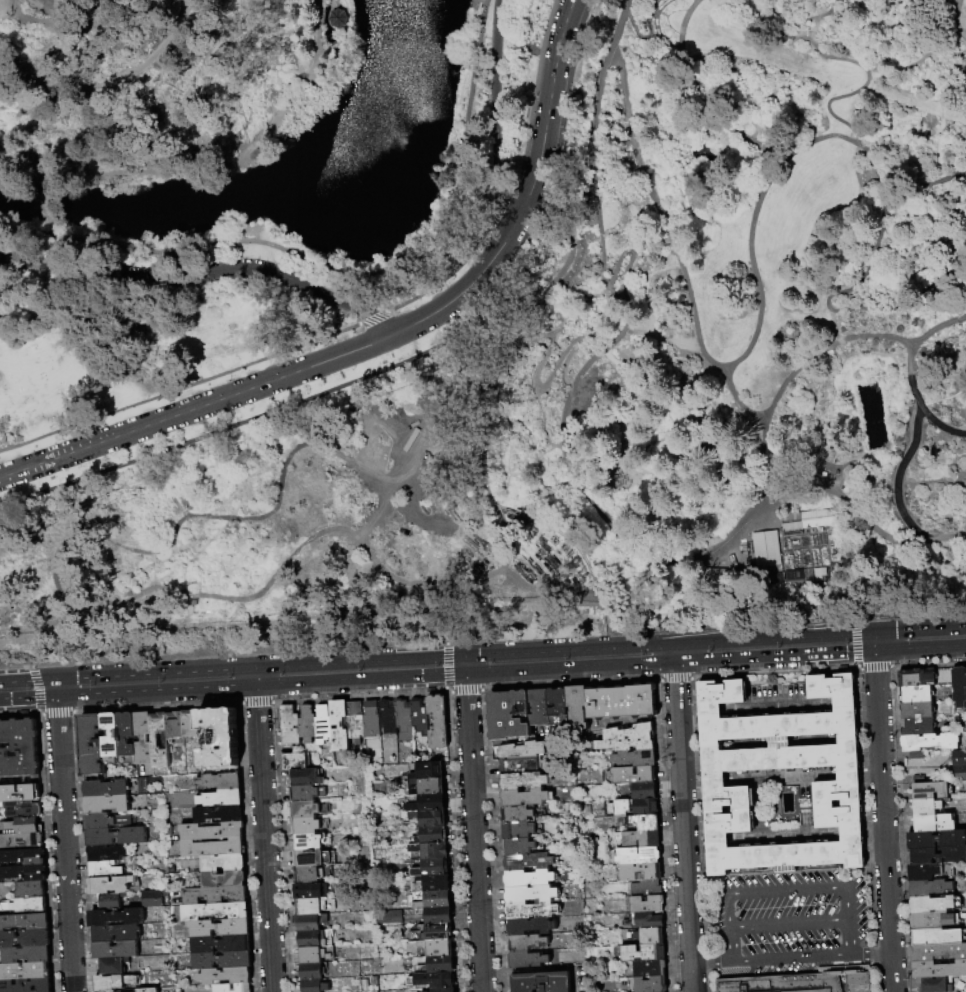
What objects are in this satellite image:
road: (329, 3)
road: (931, 7)
road: (947, 8)
road: (665, 16)
building: (337, 18)
road: (950, 18)
road: (816, 19)
road: (953, 22)
road: (68, 24)
road: (961, 26)
road: (656, 27)
road: (479, 30)
road: (645, 35)
road: (787, 35)
road: (836, 36)
road: (945, 36)
road: (341, 38)
road: (823, 38)
road: (332, 46)
road: (323, 52)
road: (917, 59)
road: (954, 68)
road: (650, 71)
road: (291, 72)
road: (925, 77)
road: (110, 79)
road: (266, 79)
road: (864, 81)
road: (957, 85)
road: (201, 91)
road: (962, 93)
road: (698, 96)
road: (532, 97)
road: (914, 102)
road: (282, 108)
road: (827, 110)
road: (938, 110)
road: (546, 111)
road: (495, 113)
road: (671, 125)
road: (592, 126)
road: (885, 131)
road: (609, 135)
road: (130, 148)
road: (936, 148)
road: (696, 158)
road: (781, 159)
road: (705, 165)
road: (92, 171)
road: (926, 183)
road: (919, 201)
road: (501, 203)
road: (952, 205)
road: (630, 211)
road: (926, 219)
road: (930, 240)
road: (907, 244)
road: (950, 247)
road: (449, 255)
road: (872, 256)
road: (314, 261)
road: (899, 270)
road: (450, 274)
road: (560, 274)
road: (203, 275)
road: (607, 283)
road: (607, 287)
road: (464, 289)
road: (648, 290)
road: (616, 291)
road: (901, 300)
building: (583, 304)
road: (581, 313)
road: (487, 316)
road: (626, 317)
road: (372, 318)
park: (476, 321)
road: (889, 322)
road: (754, 332)
road: (942, 333)
road: (858, 335)
road: (593, 339)
road: (510, 343)
road: (839, 350)
road: (618, 354)
road: (402, 362)
road: (714, 364)
road: (563, 365)
road: (613, 367)
road: (638, 368)
road: (792, 371)
road: (908, 373)
road: (830, 377)
road: (543, 387)
road: (180, 388)
road: (814, 388)
road: (584, 390)
road: (516, 405)
road: (197, 407)
road: (501, 415)
road: (963, 418)
road: (915, 419)
road: (743, 421)
road: (670, 423)
road: (628, 426)
road: (648, 441)
road: (684, 447)
road: (503, 448)
road: (700, 448)
road: (546, 449)
road: (717, 451)
building: (826, 451)
road: (673, 457)
road: (861, 458)
road: (953, 458)
road: (812, 459)
road: (943, 459)
road: (931, 460)
road: (844, 463)
road: (962, 472)
road: (667, 473)
road: (572, 474)
road: (960, 478)
road: (529, 479)
road: (895, 480)
road: (705, 492)
road: (714, 494)
road: (171, 501)
road: (660, 501)
road: (884, 503)
road: (376, 510)
road: (935, 518)
building: (806, 519)
road: (684, 529)
building: (820, 539)
building: (833, 539)
road: (873, 547)
building: (763, 548)
road: (933, 549)
road: (189, 560)
building: (805, 575)
road: (94, 606)
road: (919, 629)
traffic signals: (873, 632)
road: (811, 634)
road: (712, 640)
road: (873, 642)
road: (920, 650)
road: (463, 653)
road: (673, 653)
traffic signals: (874, 653)
road: (773, 658)
road: (464, 665)
road: (155, 671)
road: (465, 675)
road: (255, 676)
building: (916, 677)
road: (27, 678)
building: (959, 686)
road: (55, 688)
road: (156, 693)
building: (917, 694)
road: (27, 699)
building: (557, 702)
building: (621, 702)
building: (577, 707)
building: (538, 708)
building: (845, 709)
building: (918, 710)
building: (508, 715)
building: (419, 716)
building: (387, 717)
building: (371, 719)
building: (404, 720)
building: (438, 721)
building: (355, 722)
building: (190, 724)
building: (307, 724)
building: (174, 725)
building: (290, 725)
building: (339, 725)
building: (323, 726)
building: (918, 726)
building: (126, 738)
building: (142, 738)
building: (110, 739)
building: (627, 739)
building: (154, 741)
building: (218, 741)
building: (929, 741)
building: (371, 744)
building: (18, 747)
building: (90, 747)
building: (519, 749)
building: (916, 754)
building: (959, 757)
building: (634, 758)
building: (294, 761)
building: (520, 766)
building: (425, 770)
building: (959, 772)
building: (633, 776)
building: (713, 776)
building: (303, 777)
building: (18, 779)
building: (219, 781)
building: (522, 782)
building: (425, 786)
building: (105, 789)
building: (926, 790)
building: (19, 792)
building: (305, 792)
building: (643, 792)
building: (523, 797)
building: (221, 798)
building: (428, 803)
building: (106, 804)
building: (927, 806)
building: (645, 807)
building: (19, 808)
building: (307, 808)
building: (619, 810)
building: (217, 814)
building: (516, 814)
building: (431, 818)
building: (105, 821)
building: (645, 822)
road: (883, 822)
building: (934, 822)
building: (21, 825)
building: (307, 825)
road: (683, 827)
building: (517, 830)
building: (211, 831)
road: (473, 834)
building: (431, 835)
building: (115, 837)
road: (264, 839)
building: (639, 839)
building: (852, 839)
building: (936, 839)
building: (21, 840)
building: (310, 841)
road: (64, 845)
building: (518, 847)
building: (207, 848)
building: (429, 851)
building: (106, 854)
building: (937, 855)
building: (22, 856)
building: (637, 856)
building: (308, 857)
building: (527, 862)
building: (223, 863)
building: (431, 868)
building: (103, 870)
building: (923, 871)
building: (22, 872)
building: (639, 872)
building: (310, 873)
building: (224, 879)
building: (528, 879)
building: (430, 883)
road: (847, 884)
building: (110, 885)
building: (930, 887)
building: (29, 888)
building: (646, 888)
building: (309, 890)
building: (215, 895)
building: (530, 895)
building: (150, 898)
building: (437, 899)
building: (107, 902)
building: (646, 904)
building: (932, 904)
building: (25, 905)
building: (309, 906)
building: (215, 911)
building: (531, 911)
building: (437, 915)
building: (387, 916)
building: (115, 918)
building: (645, 920)
building: (933, 920)
building: (24, 921)
building: (310, 922)
parking lot: (787, 922)
building: (530, 927)
building: (221, 928)
building: (432, 933)
building: (115, 934)
building: (649, 936)
building: (937, 936)
building: (24, 937)
road: (852, 937)
building: (308, 939)
building: (526, 942)
road: (731, 943)
building: (222, 944)
building: (434, 948)
building: (115, 950)
building: (938, 951)
building: (25, 953)
building: (642, 953)
road: (872, 953)
building: (309, 955)
road: (793, 957)
building: (222, 960)
building: (526, 960)
road: (712, 961)
building: (440, 964)
building: (113, 966)
building: (648, 969)
building: (939, 969)
building: (24, 970)
building: (309, 971)
building: (225, 976)
building: (432, 980)
building: (541, 982)
building: (803, 982)
building: (113, 983)
building: (26, 985)
building: (313, 985)
building: (650, 985)
building: (936, 985)
building: (221, 988)
building: (241, 988)
building: (147, 990)
building: (442, 990)
building: (108, 991)
building: (415, 991)

